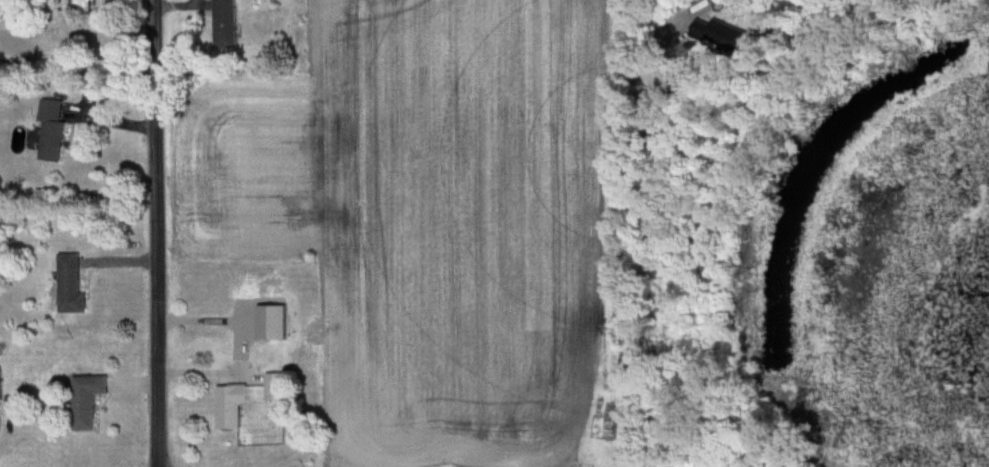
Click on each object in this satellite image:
building: (81, 5)
building: (226, 23)
building: (53, 131)
road: (157, 233)
building: (71, 286)
road: (210, 373)
building: (0, 385)
building: (275, 387)
building: (87, 401)
building: (231, 406)

